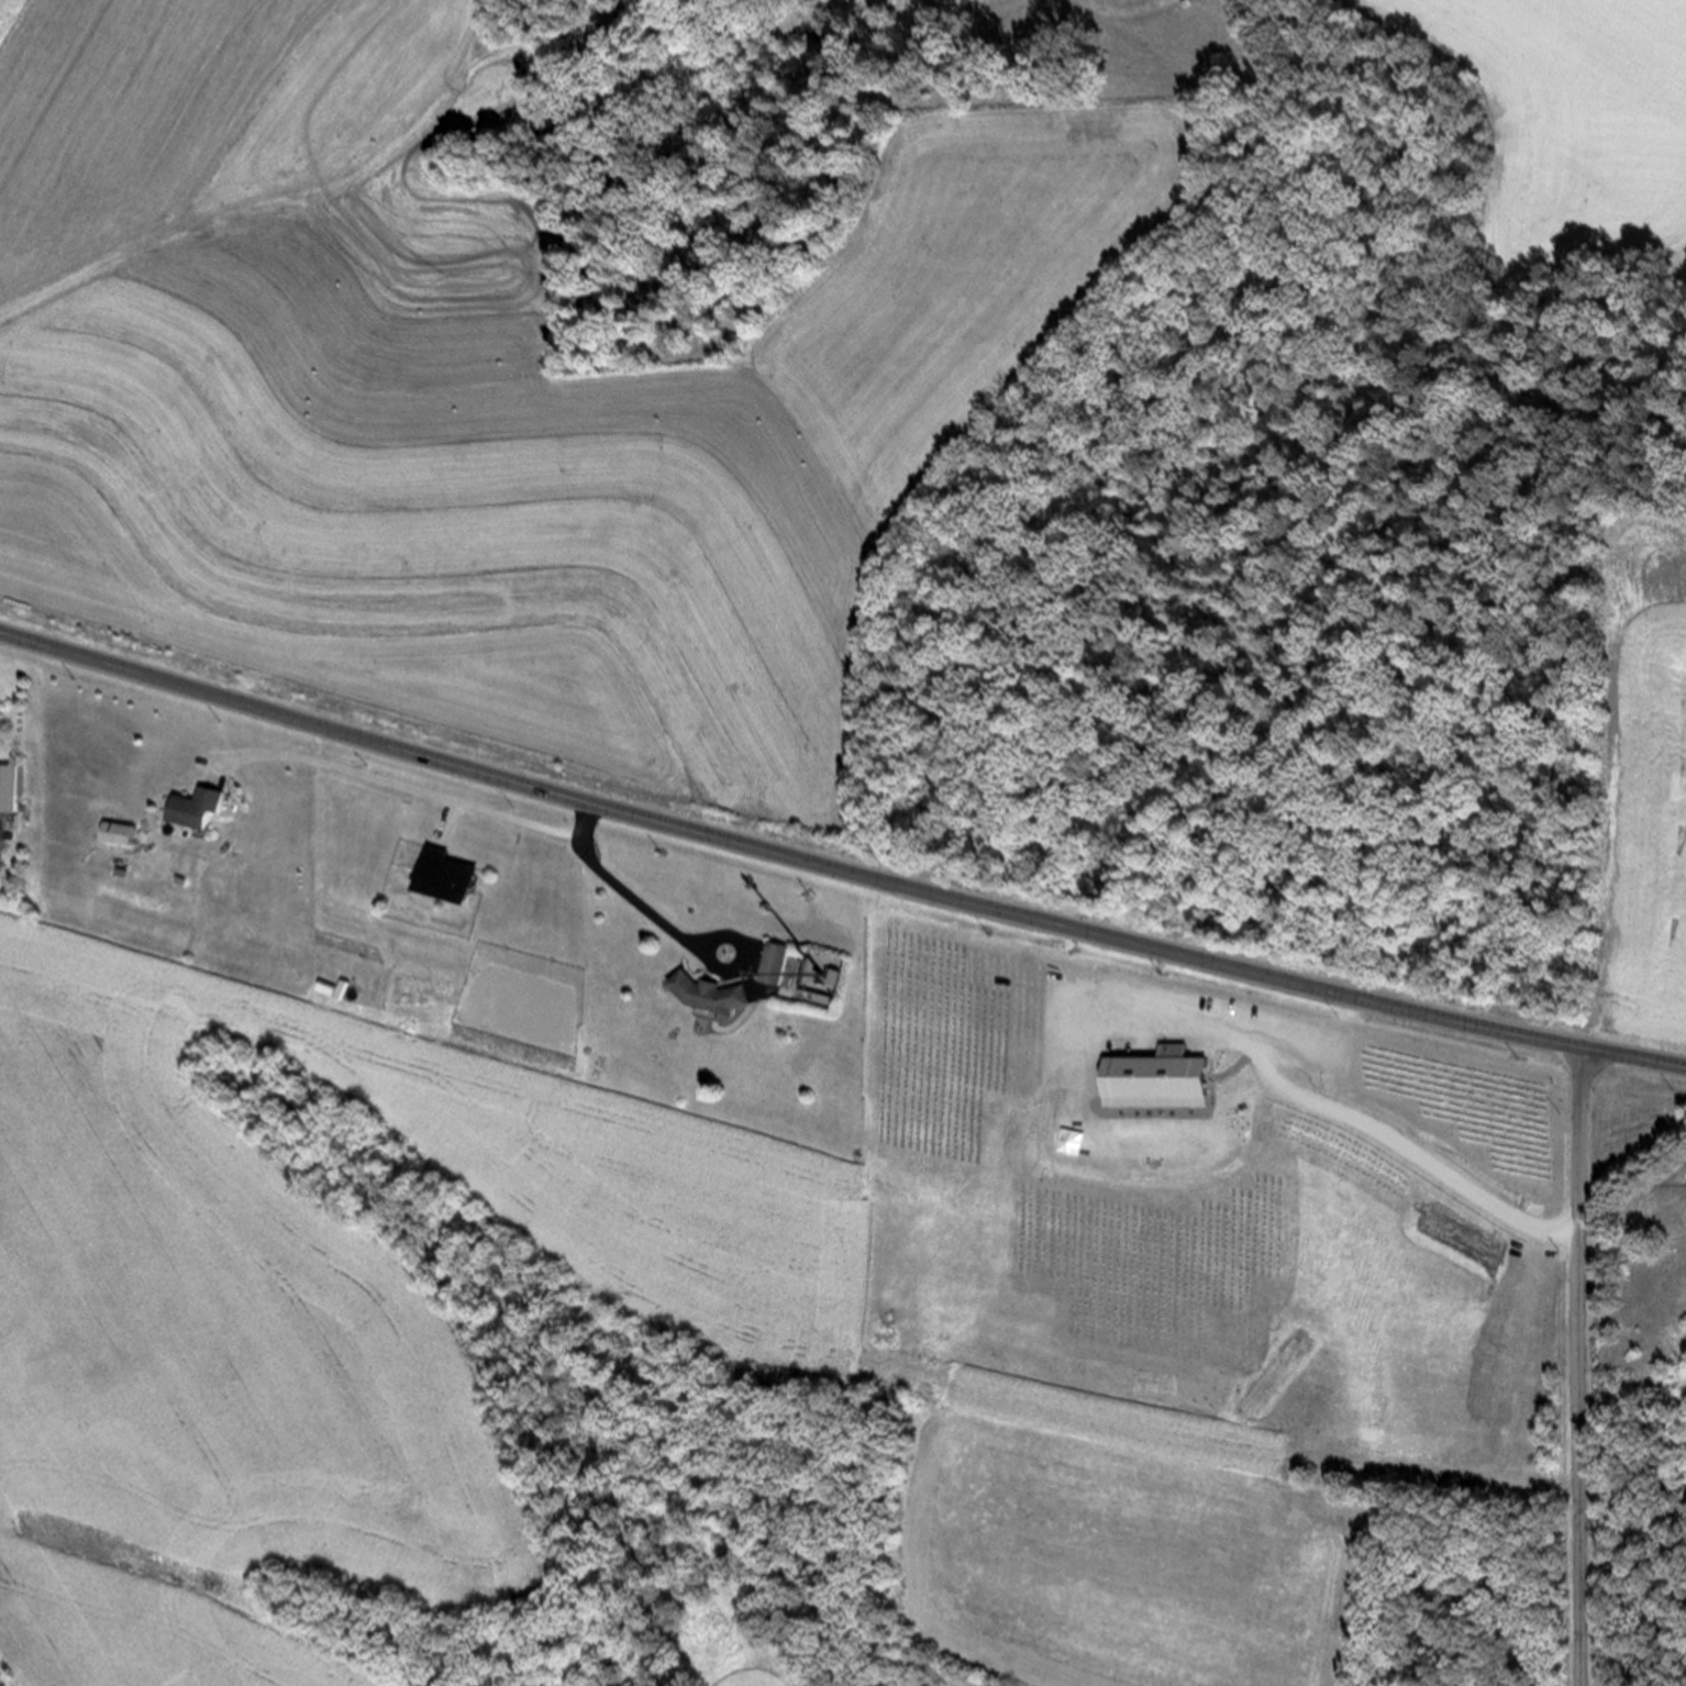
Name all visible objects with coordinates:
building: (11, 786)
road: (397, 790)
building: (201, 807)
building: (124, 832)
road: (0, 834)
road: (839, 867)
road: (669, 924)
building: (777, 962)
building: (717, 995)
road: (1637, 1228)
road: (1584, 1366)

